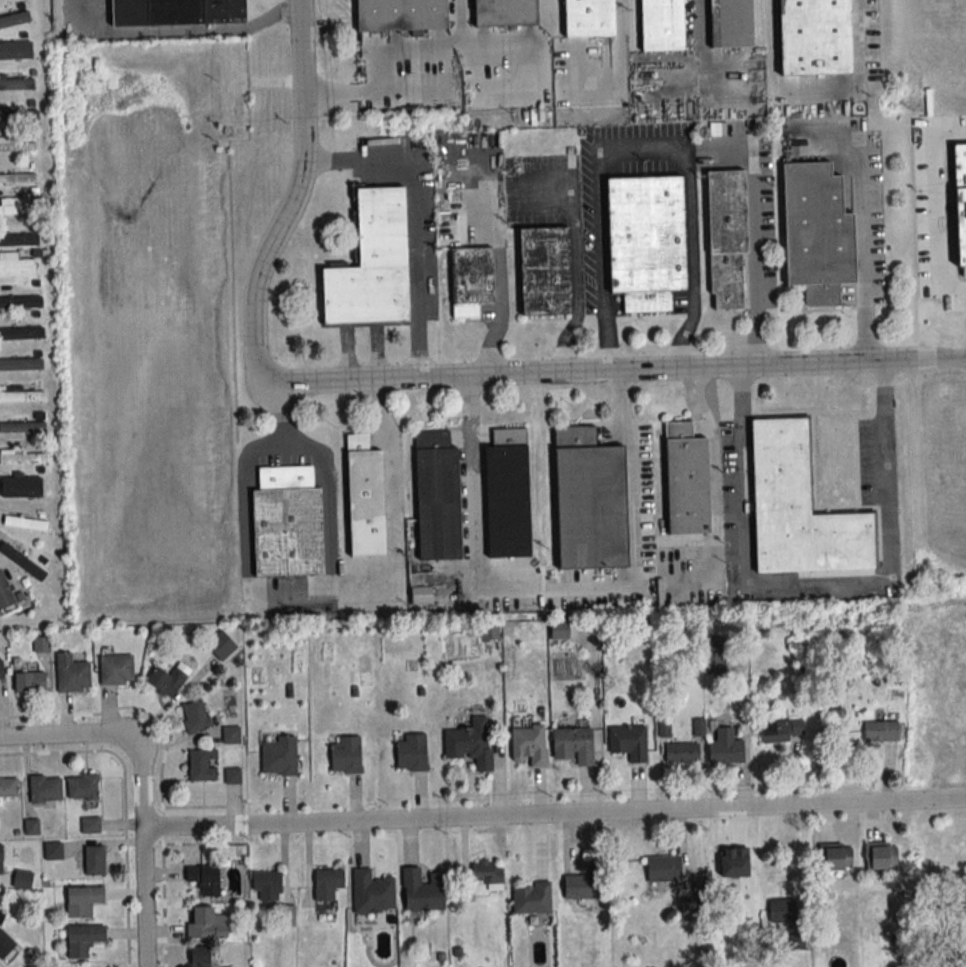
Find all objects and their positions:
road: (460, 4)
building: (179, 11)
building: (509, 12)
building: (405, 15)
building: (14, 17)
building: (592, 18)
building: (665, 24)
building: (736, 24)
road: (174, 33)
building: (818, 36)
road: (697, 40)
road: (377, 48)
building: (16, 53)
road: (619, 53)
building: (18, 83)
road: (814, 94)
building: (18, 113)
road: (642, 144)
building: (19, 146)
building: (18, 178)
building: (964, 189)
road: (295, 191)
building: (18, 205)
road: (935, 205)
road: (422, 207)
building: (19, 233)
building: (822, 233)
building: (730, 239)
building: (648, 240)
road: (576, 259)
road: (755, 263)
building: (377, 264)
building: (18, 268)
road: (868, 269)
building: (549, 270)
building: (473, 279)
building: (21, 298)
building: (23, 332)
building: (21, 364)
road: (615, 374)
building: (23, 395)
building: (23, 426)
building: (24, 459)
building: (690, 477)
building: (27, 486)
road: (715, 490)
building: (509, 496)
building: (367, 497)
building: (441, 498)
road: (473, 498)
road: (328, 500)
building: (594, 500)
road: (636, 505)
building: (803, 507)
building: (292, 521)
building: (27, 523)
building: (23, 562)
road: (460, 568)
road: (819, 577)
road: (296, 592)
building: (7, 593)
building: (419, 595)
building: (558, 629)
building: (220, 645)
building: (115, 669)
building: (0, 671)
building: (71, 674)
building: (167, 679)
building: (28, 681)
building: (193, 716)
building: (780, 730)
building: (879, 731)
building: (230, 735)
road: (64, 738)
building: (469, 742)
building: (628, 742)
building: (528, 743)
building: (572, 745)
building: (724, 748)
building: (410, 752)
building: (681, 753)
building: (344, 754)
building: (277, 756)
building: (201, 765)
building: (231, 775)
building: (81, 786)
building: (8, 787)
building: (44, 788)
road: (554, 816)
building: (89, 824)
building: (51, 851)
road: (142, 855)
building: (880, 856)
building: (836, 858)
building: (0, 859)
building: (93, 860)
building: (660, 868)
building: (487, 875)
building: (203, 878)
building: (21, 879)
building: (585, 883)
building: (266, 884)
building: (326, 887)
building: (421, 890)
building: (371, 892)
building: (530, 899)
building: (82, 900)
building: (780, 910)
building: (204, 923)
building: (82, 939)
building: (4, 944)
building: (198, 957)

